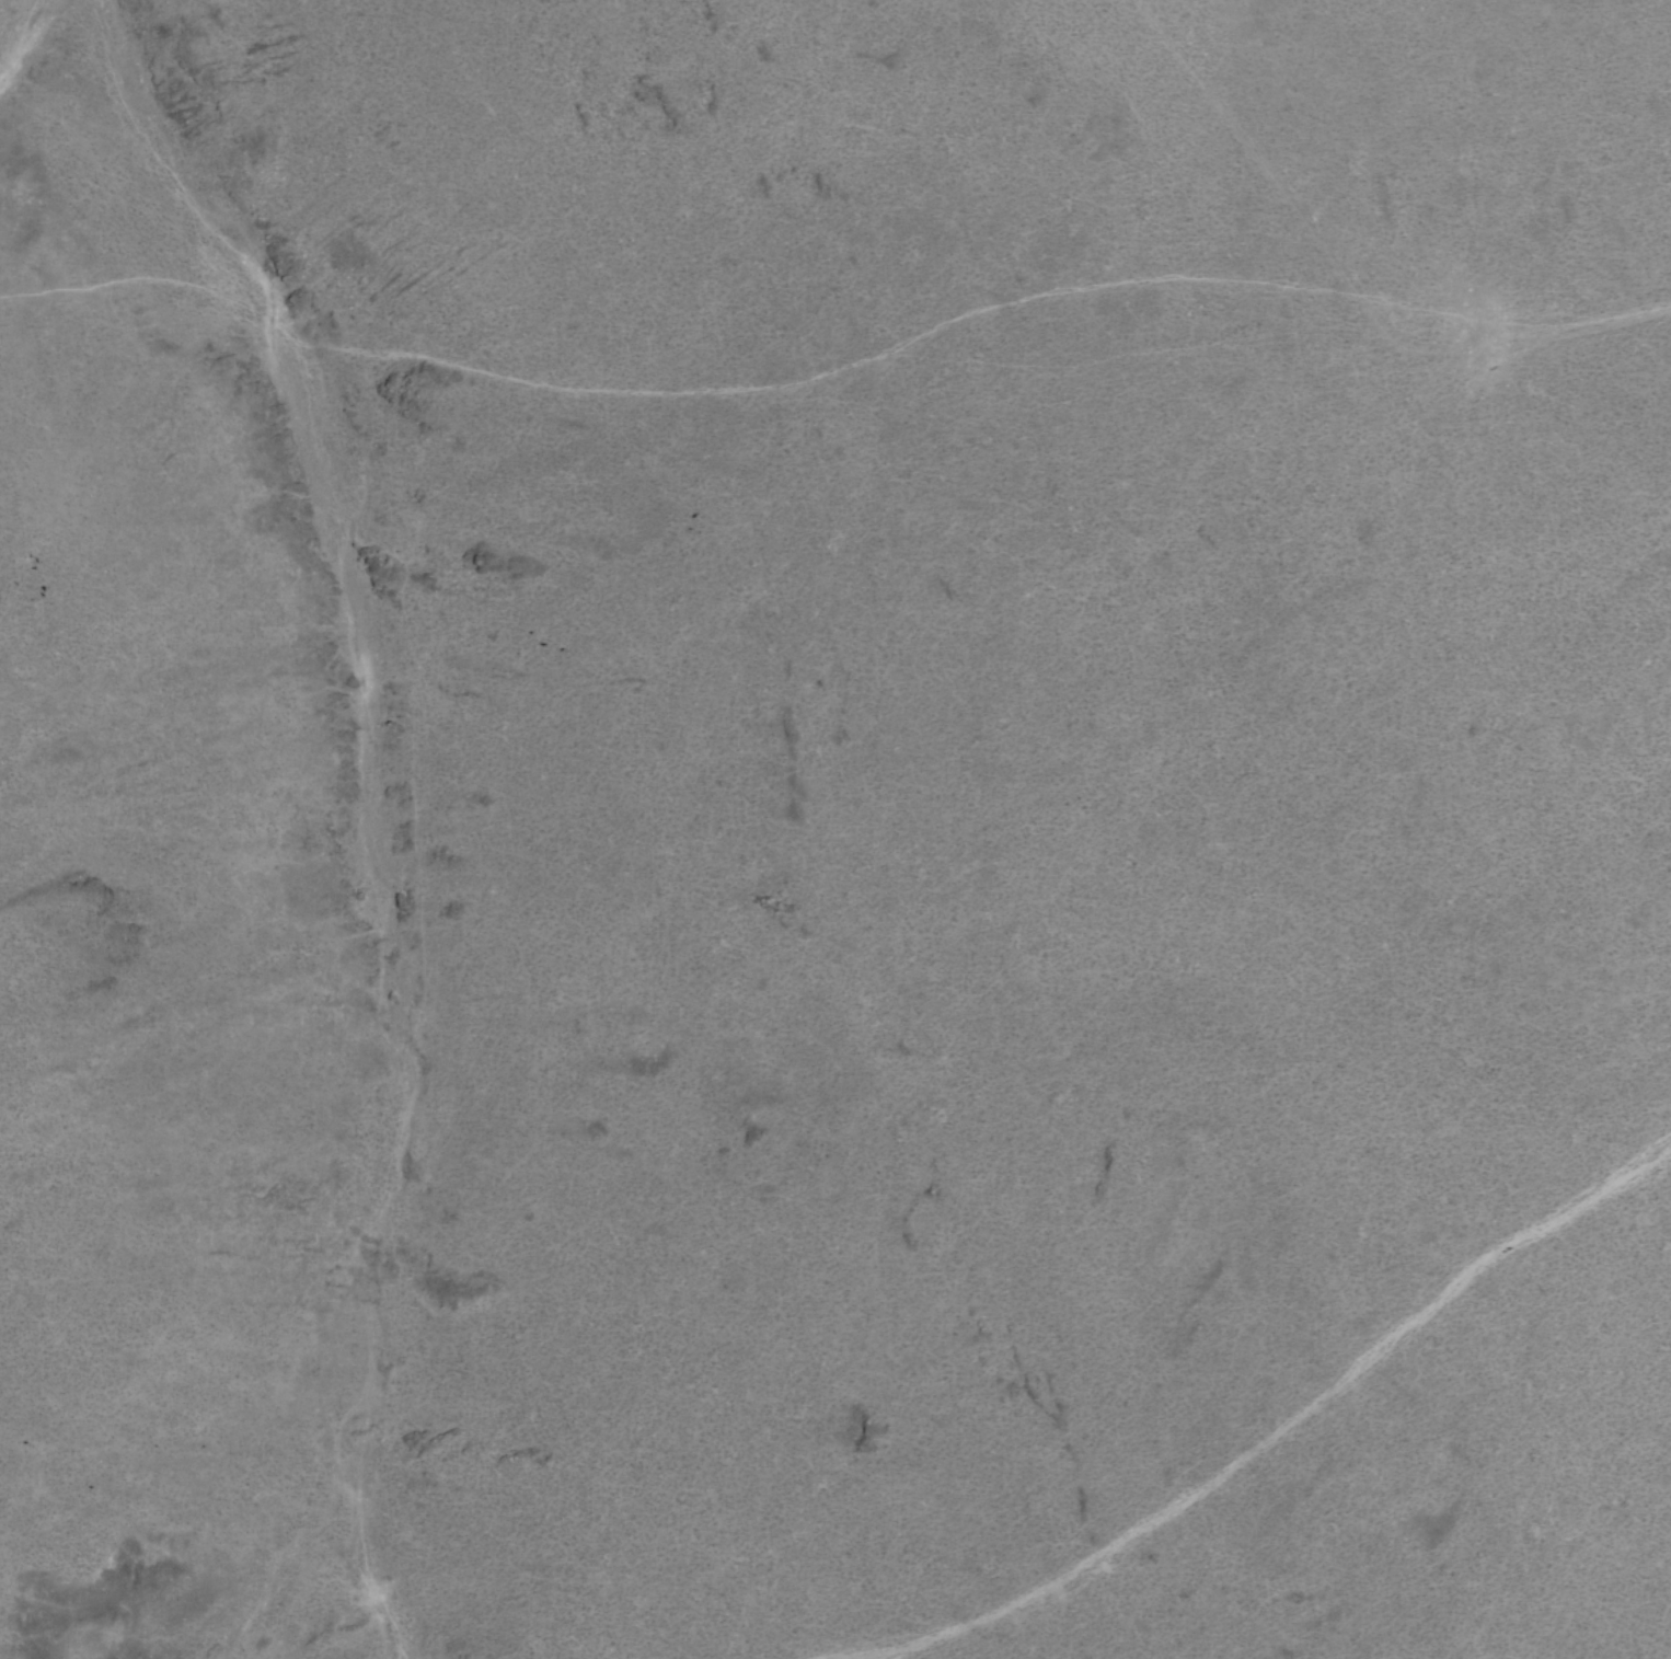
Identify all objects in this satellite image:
road: (1350, 286)

